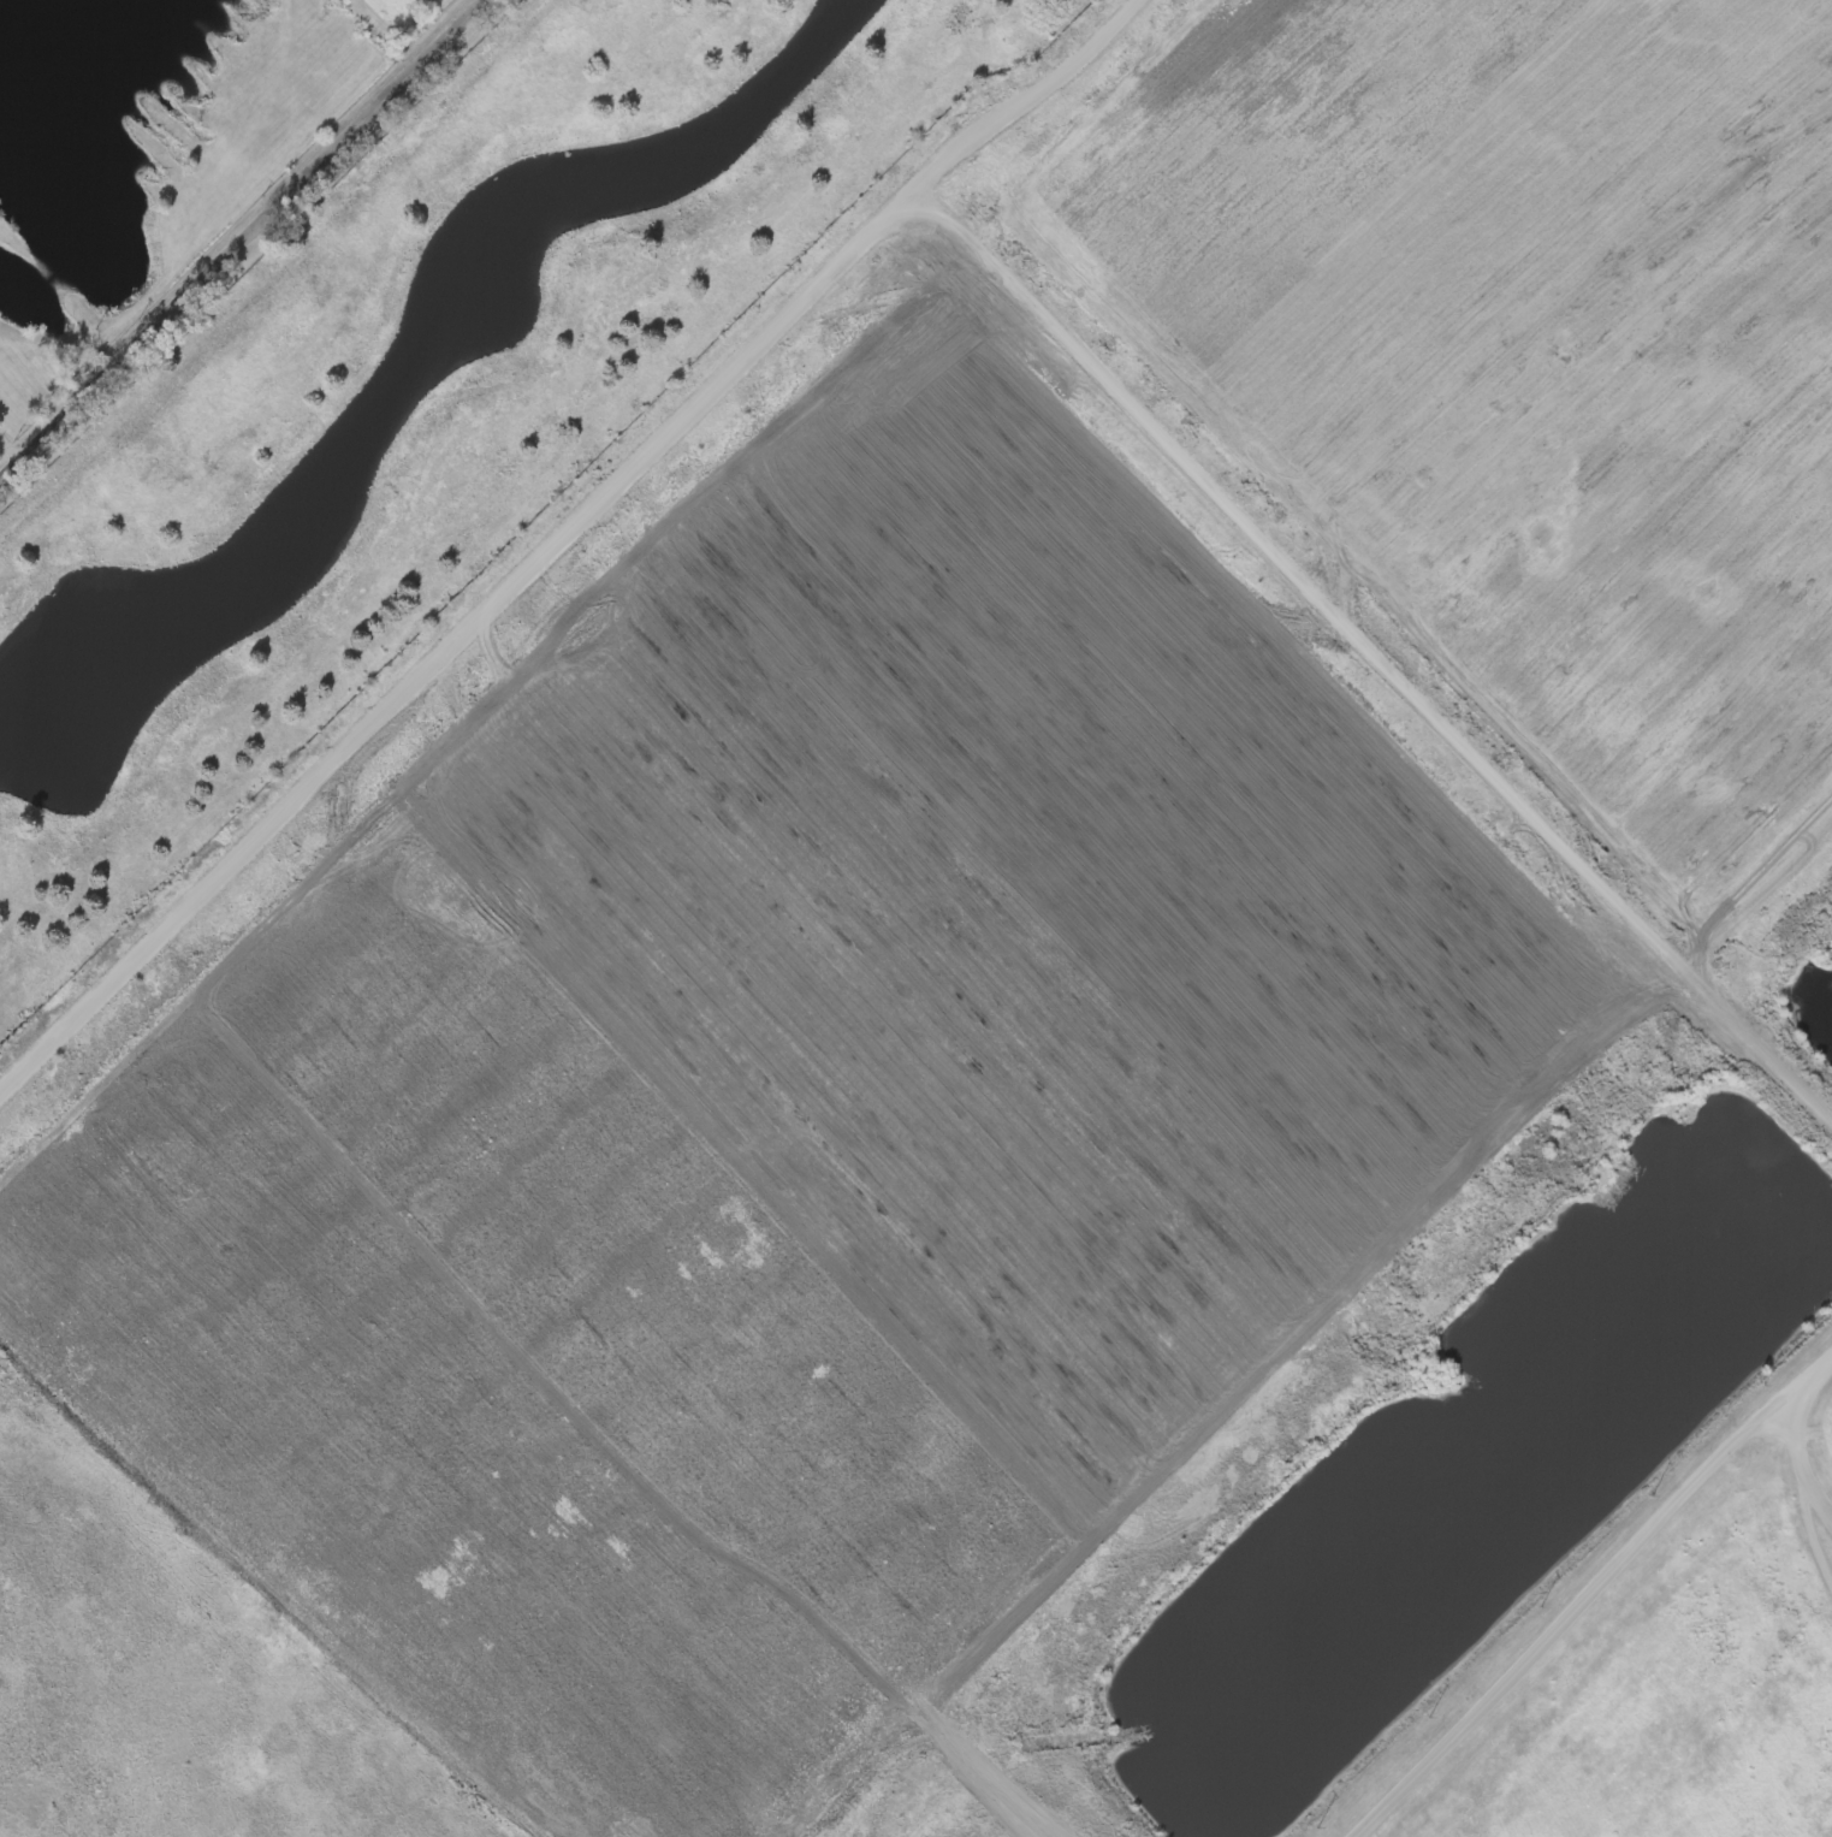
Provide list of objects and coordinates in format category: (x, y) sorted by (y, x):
road: (233, 232)
road: (567, 541)
wastewater plant: (951, 954)
road: (1806, 1450)
road: (1593, 1594)

